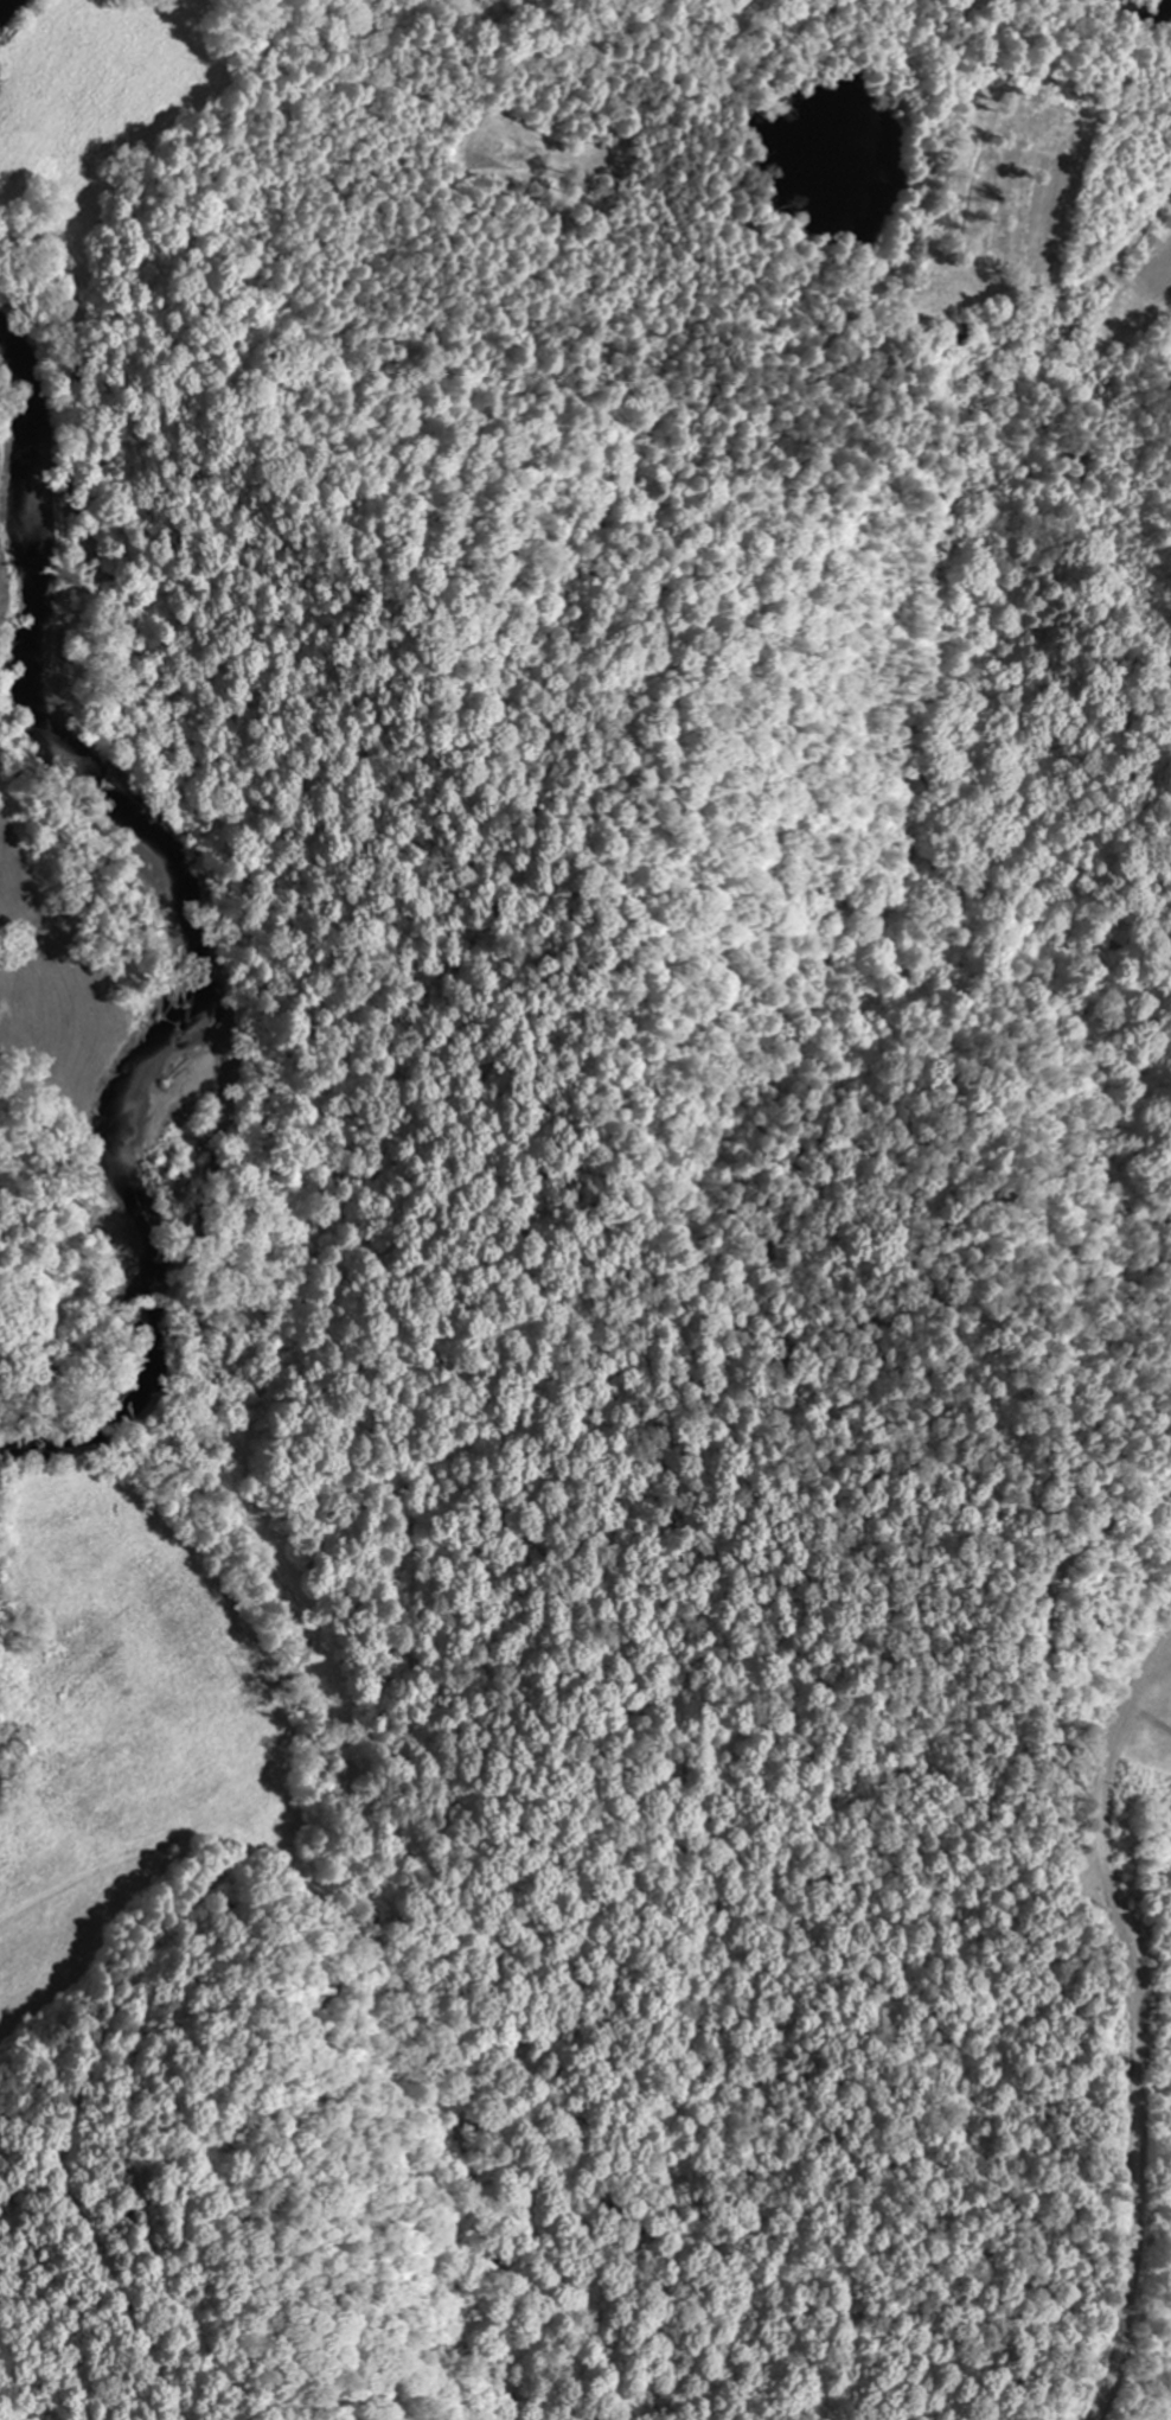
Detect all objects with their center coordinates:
road: (1094, 267)

